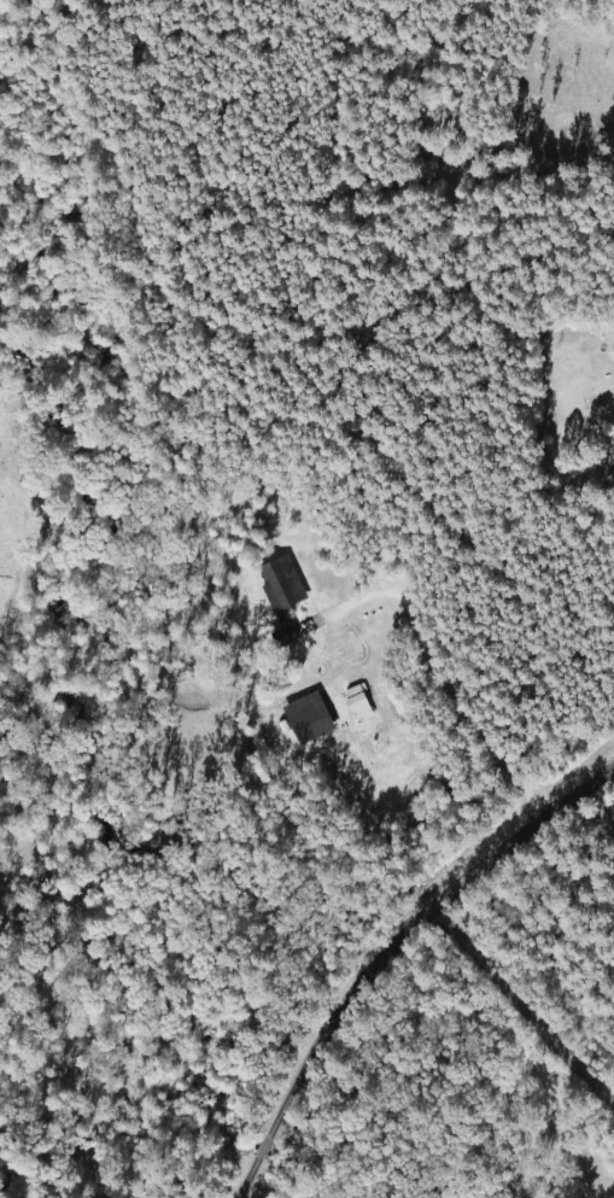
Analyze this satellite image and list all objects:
building: (277, 592)
road: (446, 672)
building: (302, 726)
road: (376, 941)
road: (505, 1052)

